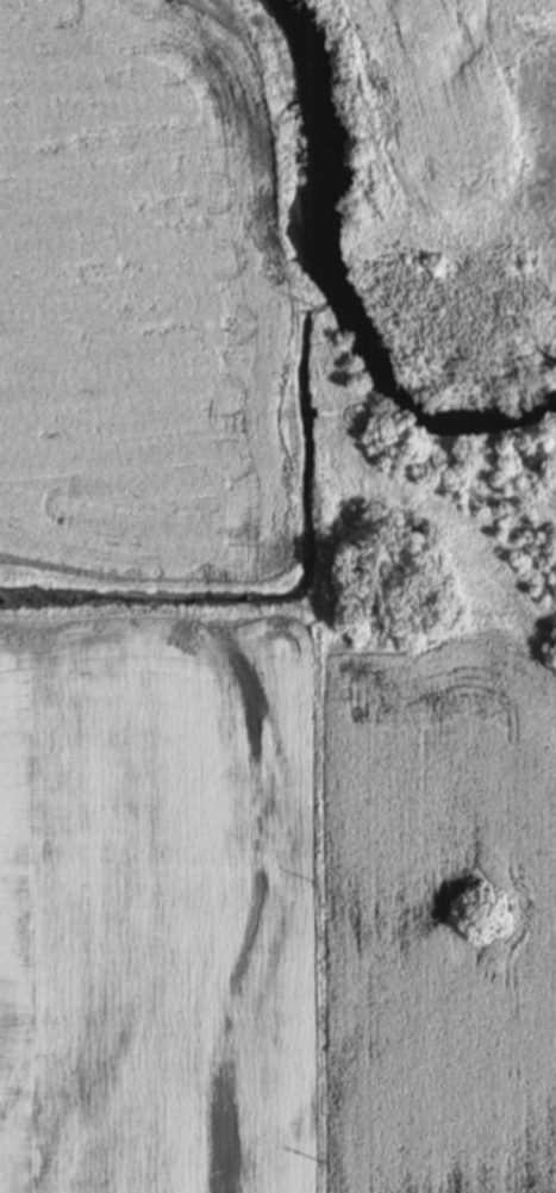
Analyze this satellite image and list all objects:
crop: (435, 114)
river: (337, 286)
crop: (139, 294)
crop: (156, 905)
crop: (442, 917)

